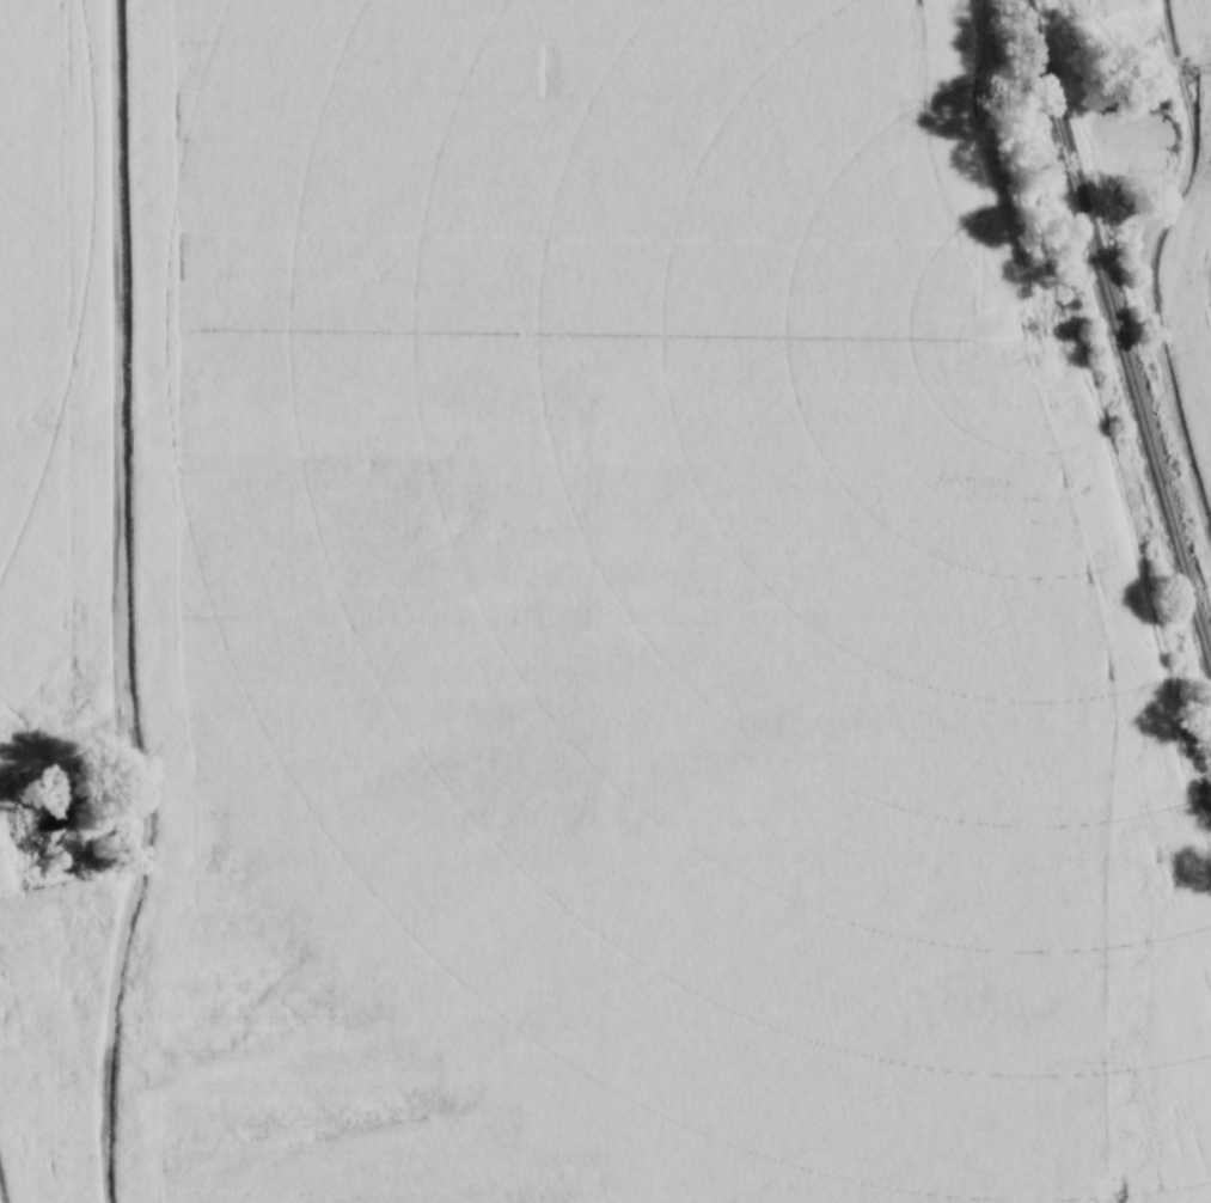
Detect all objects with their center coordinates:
railway: (1117, 336)

